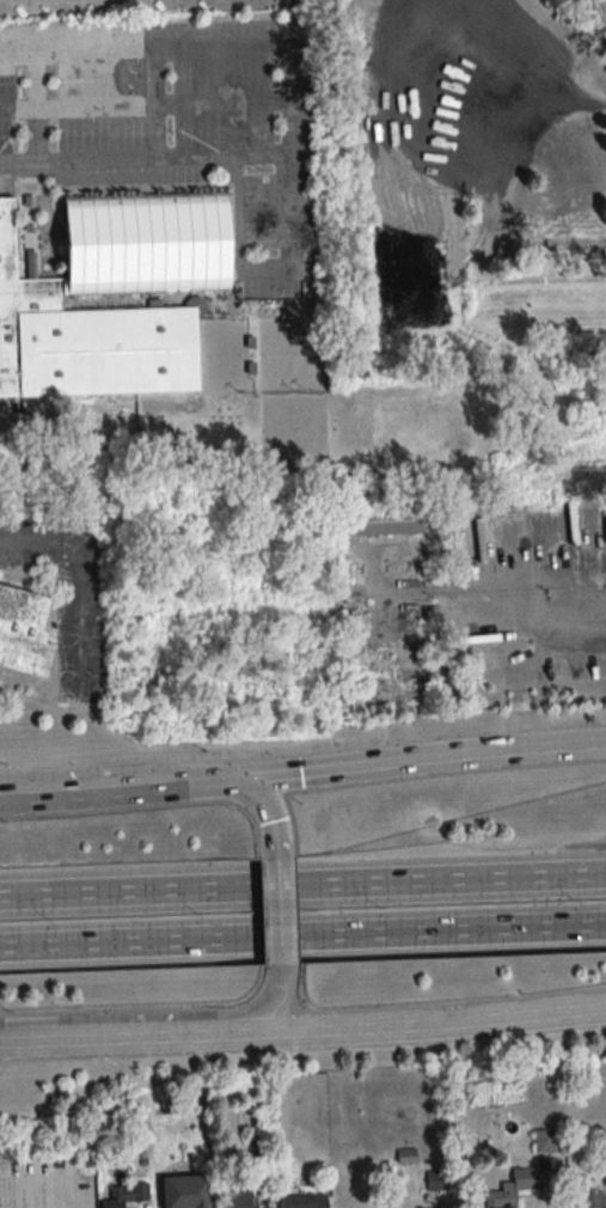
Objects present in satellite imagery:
road: (288, 103)
road: (497, 181)
road: (294, 205)
building: (72, 292)
road: (0, 415)
building: (377, 520)
road: (36, 541)
building: (24, 630)
building: (406, 654)
road: (374, 762)
road: (72, 788)
road: (265, 819)
road: (427, 884)
road: (123, 895)
road: (278, 917)
road: (428, 931)
road: (124, 942)
road: (268, 1003)
road: (421, 1019)
road: (121, 1033)
road: (4, 1038)
building: (544, 1141)
building: (257, 1152)
building: (405, 1155)
building: (436, 1180)
building: (512, 1188)
building: (124, 1194)
building: (238, 1196)
building: (592, 1200)
building: (302, 1201)
road: (0, 1202)

